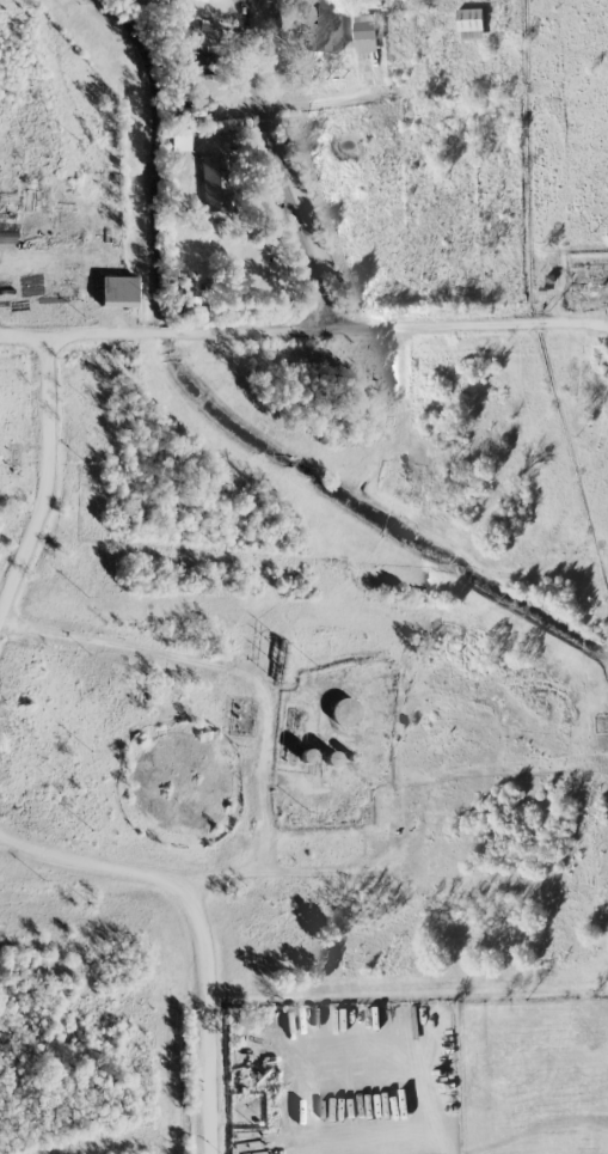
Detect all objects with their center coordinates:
building: (431, 0)
building: (471, 24)
building: (324, 31)
building: (364, 33)
building: (192, 62)
road: (325, 108)
building: (179, 142)
building: (215, 182)
road: (288, 206)
building: (118, 291)
building: (189, 294)
road: (391, 328)
road: (166, 331)
road: (78, 332)
road: (53, 489)
road: (264, 691)
building: (344, 712)
road: (354, 871)
road: (203, 924)

